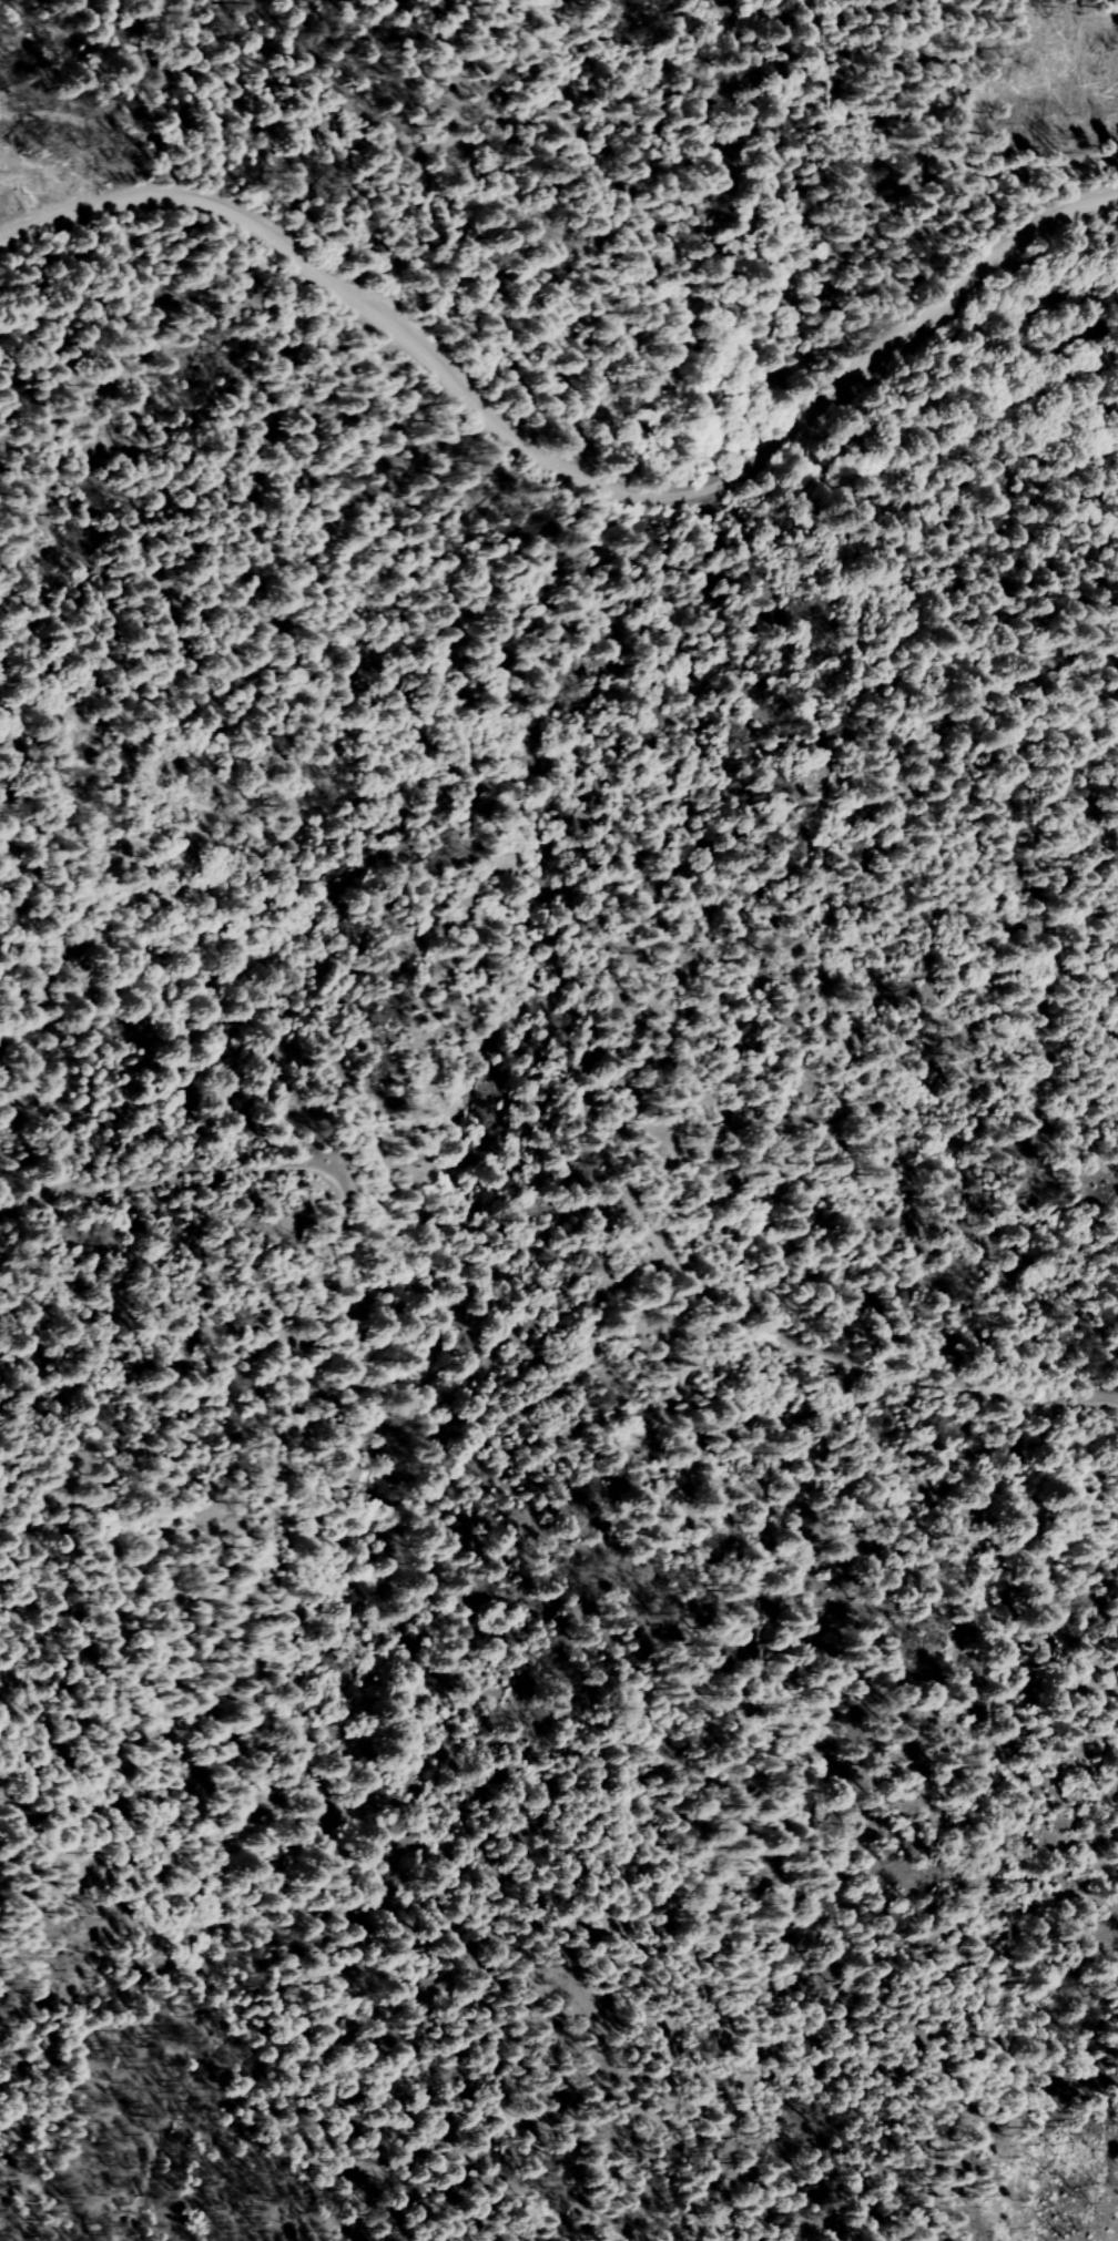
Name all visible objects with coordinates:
road: (970, 289)
road: (427, 360)
road: (743, 374)

